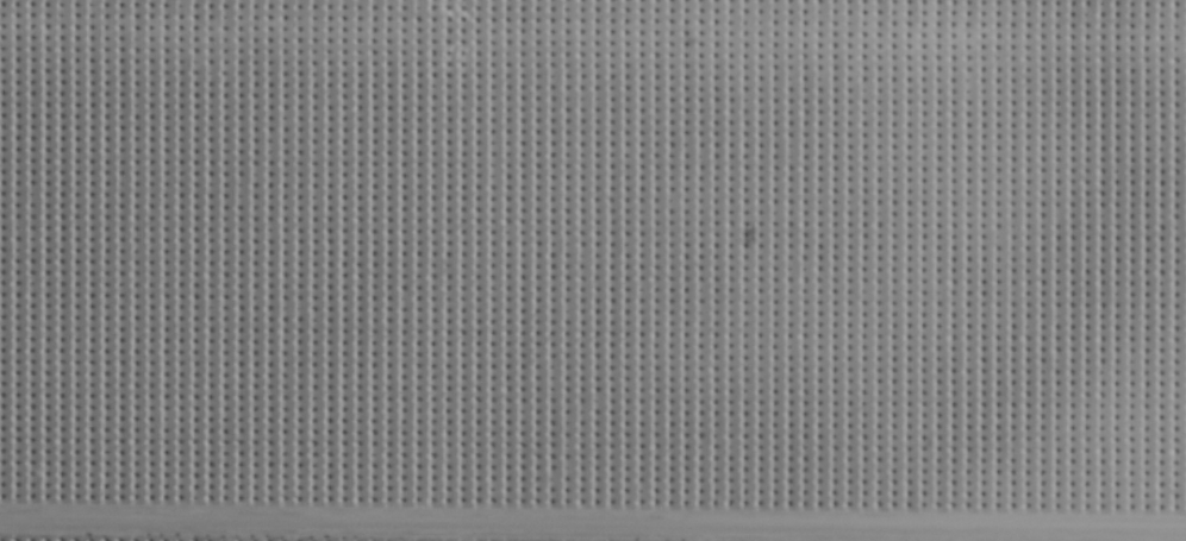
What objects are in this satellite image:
crop: (593, 270)

